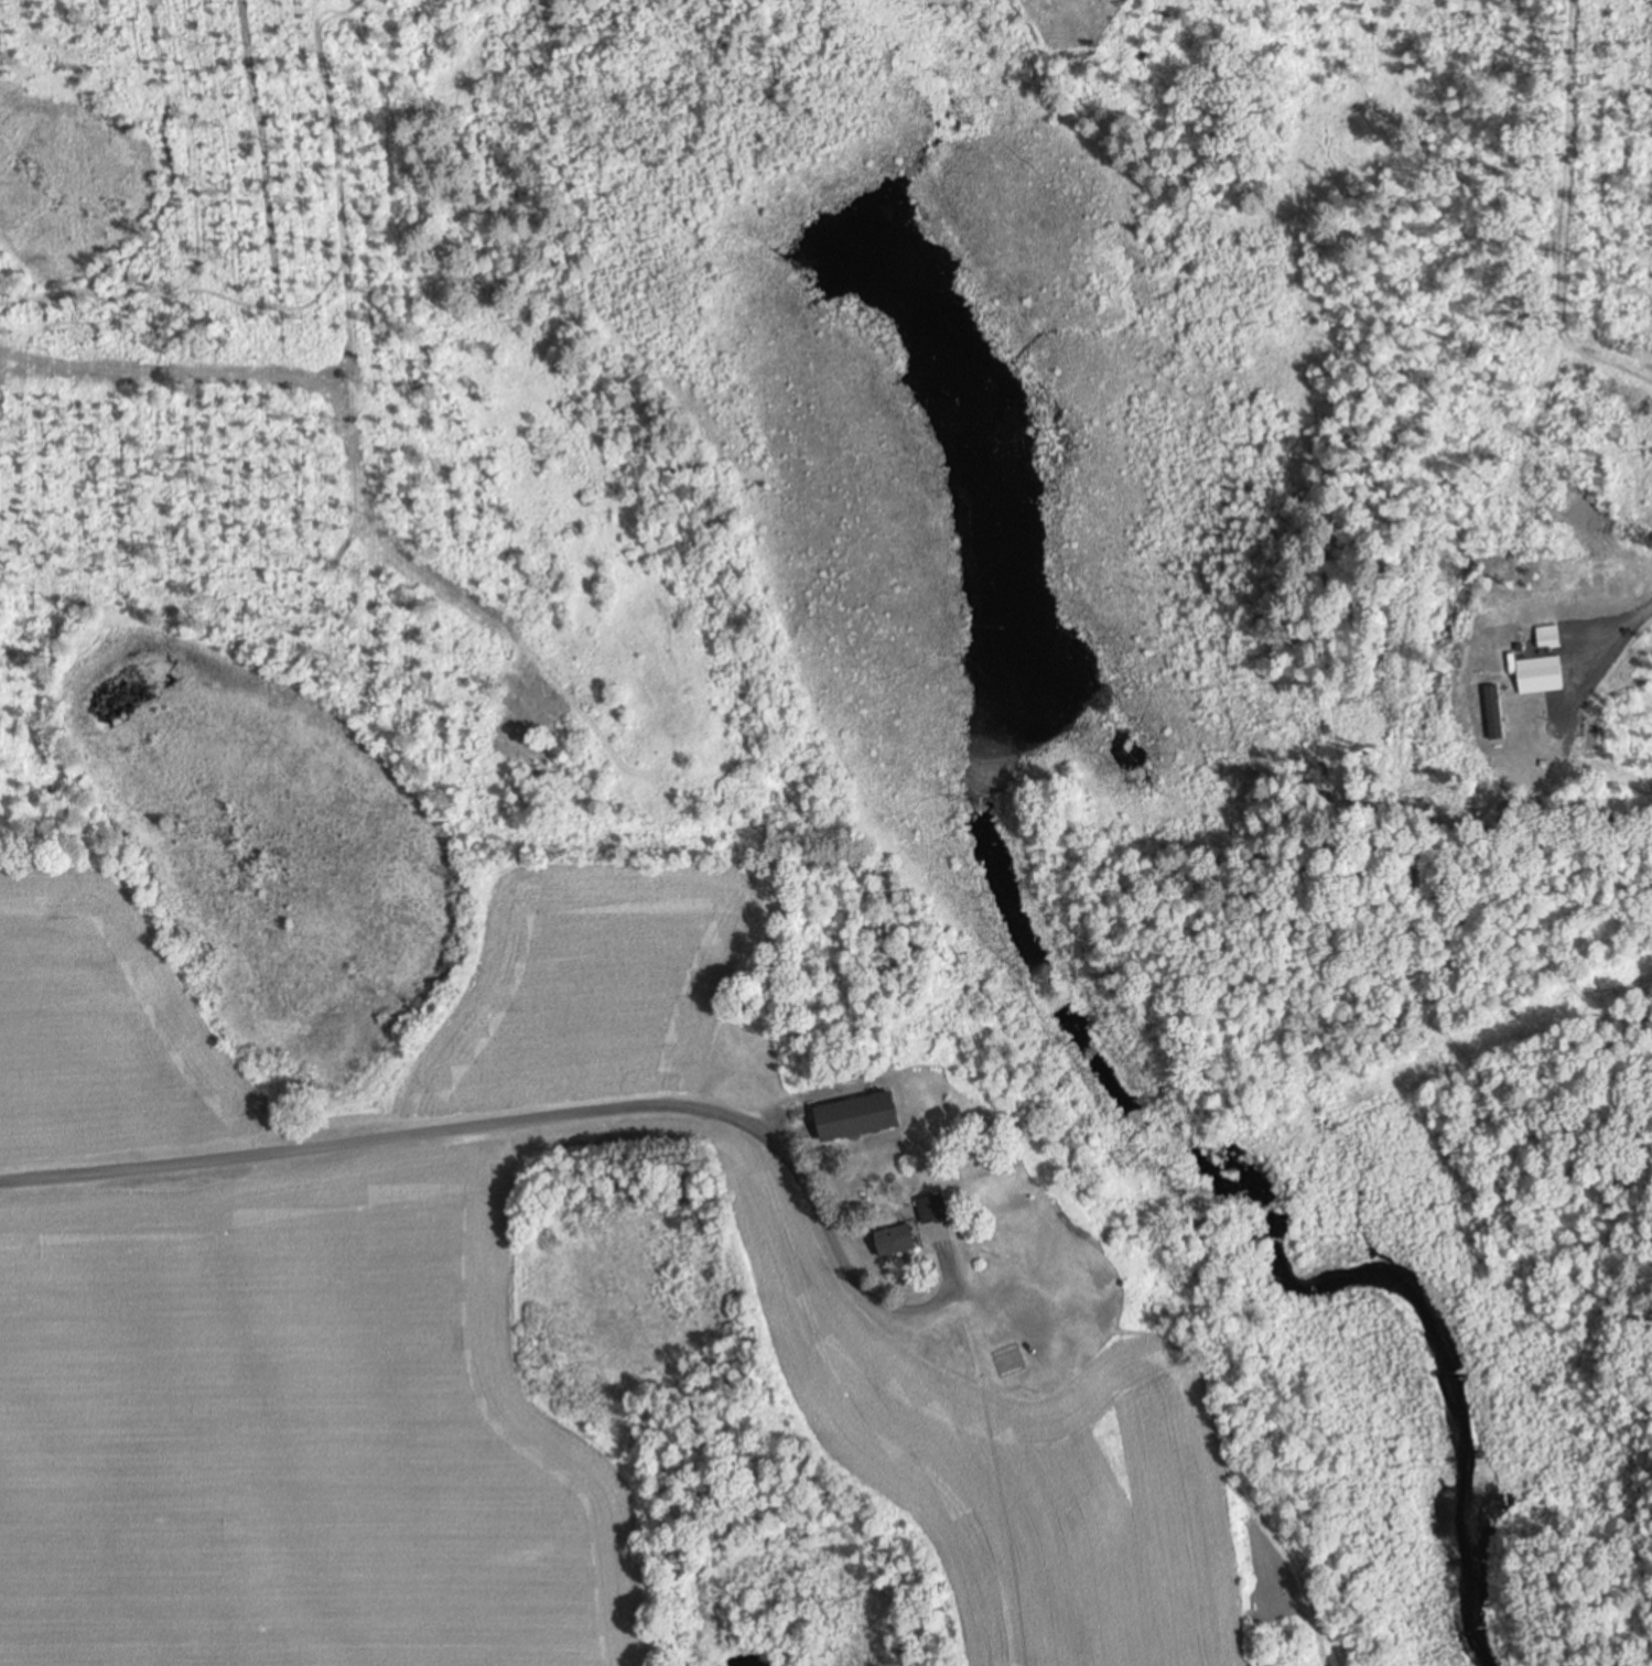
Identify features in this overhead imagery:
building: (865, 1114)
building: (937, 1208)
building: (904, 1236)

